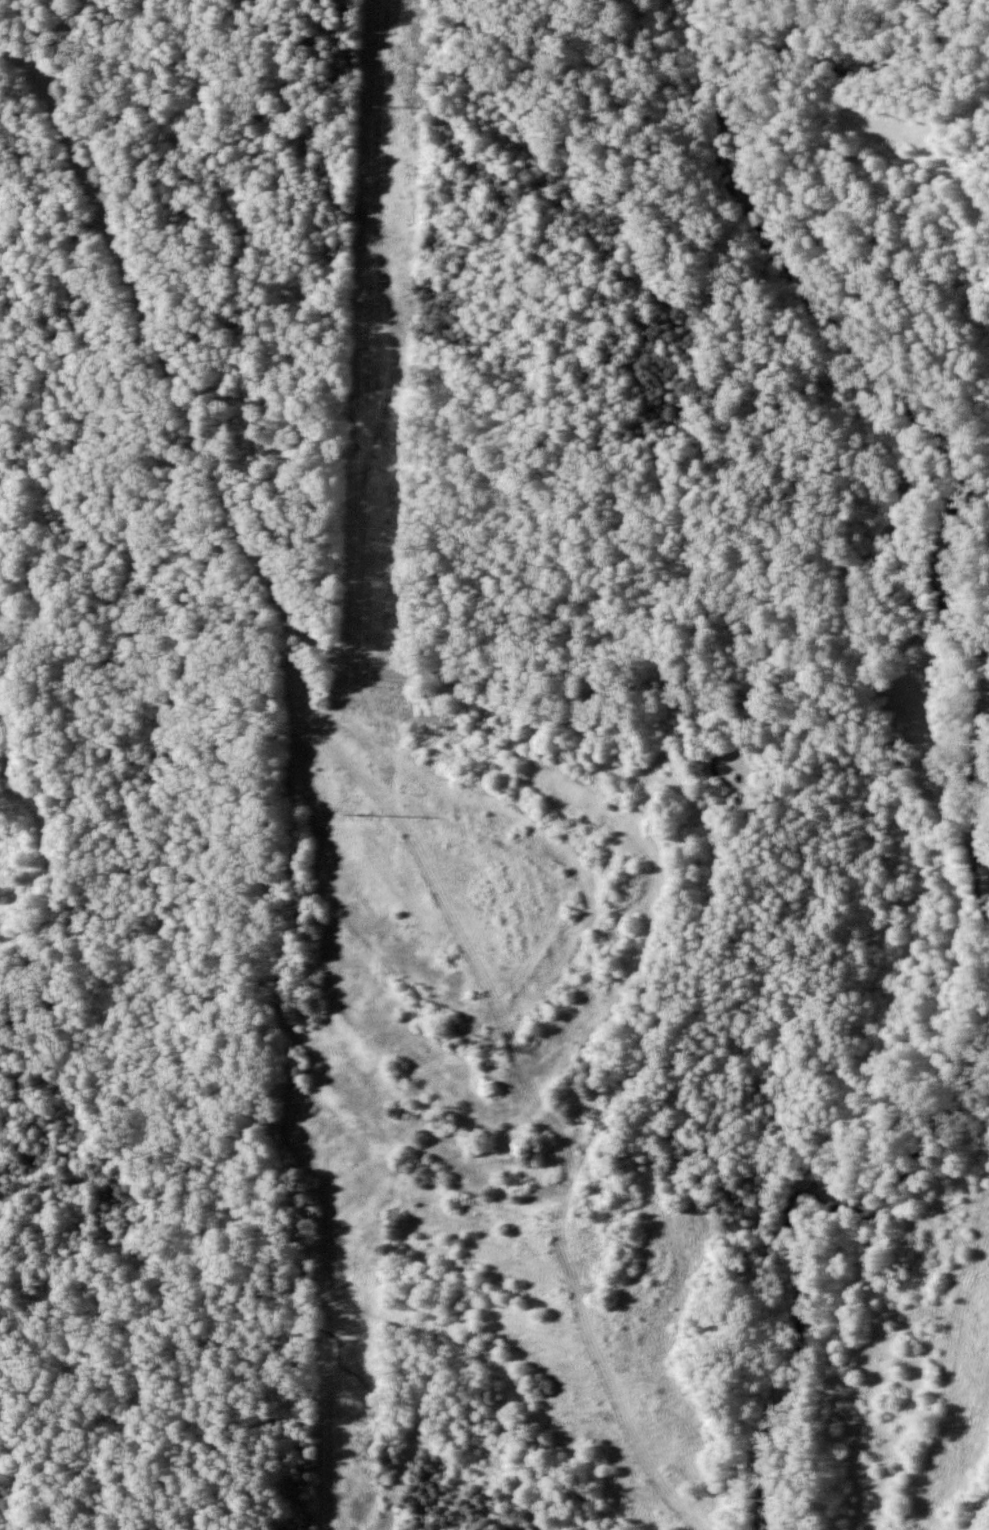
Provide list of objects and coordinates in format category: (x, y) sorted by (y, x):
power tower: (389, 105)
road: (348, 664)
road: (919, 735)
parking lot: (911, 752)
power tower: (357, 813)

